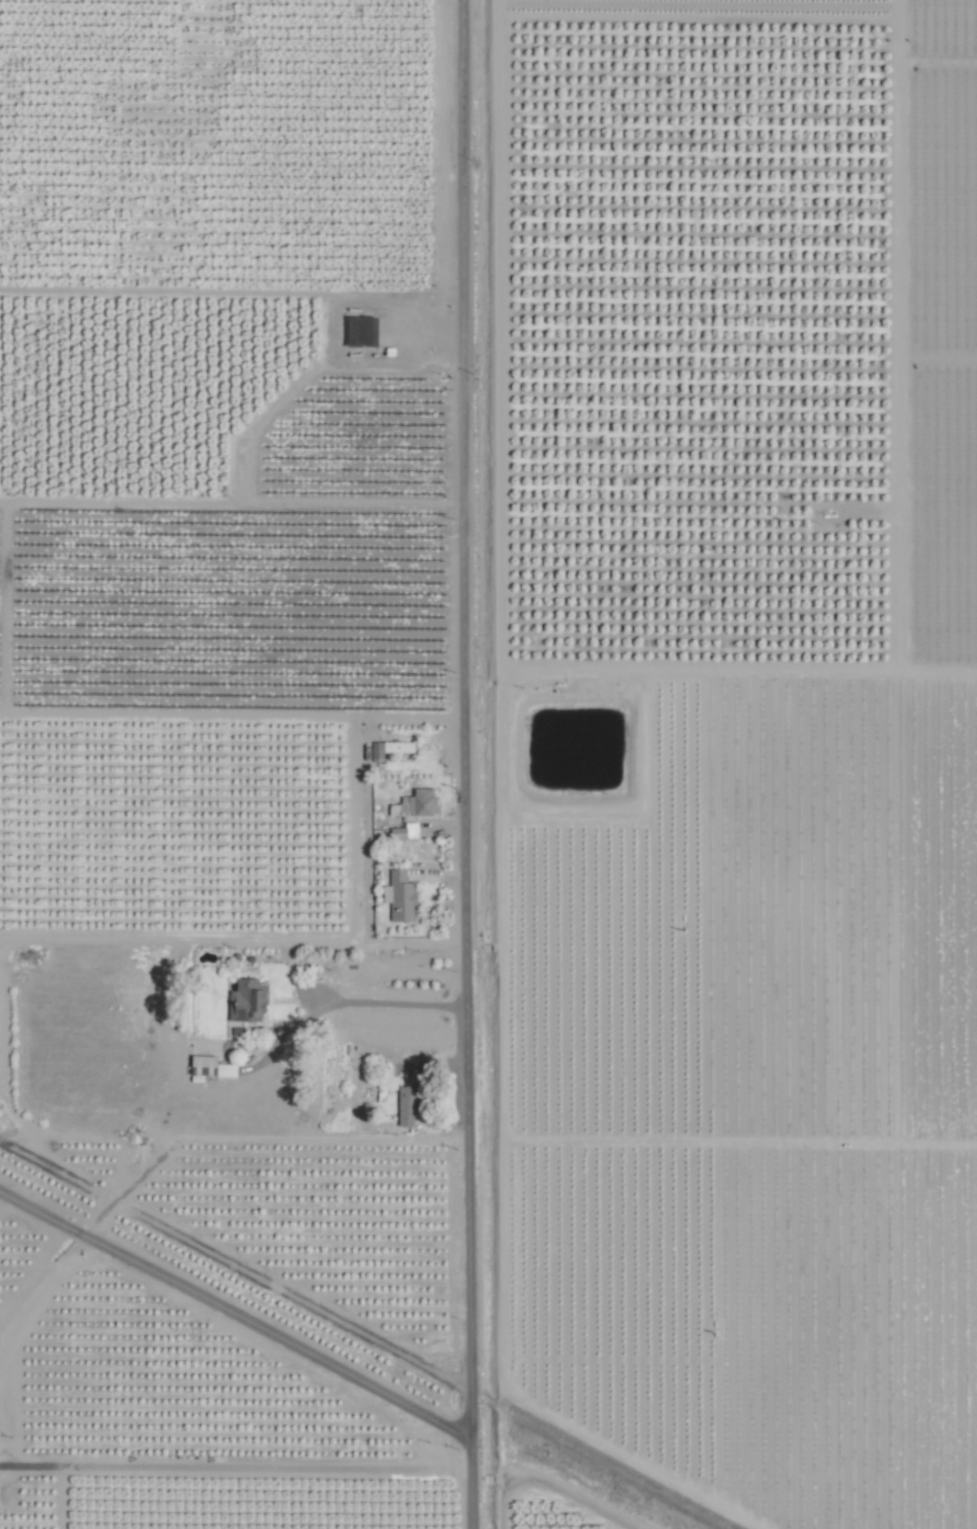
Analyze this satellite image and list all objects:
building: (387, 748)
road: (461, 764)
crop: (488, 764)
building: (414, 803)
building: (410, 830)
building: (396, 833)
building: (398, 896)
building: (245, 1000)
road: (385, 1006)
building: (208, 1067)
building: (384, 1082)
building: (405, 1106)
road: (235, 1325)
road: (118, 1468)

